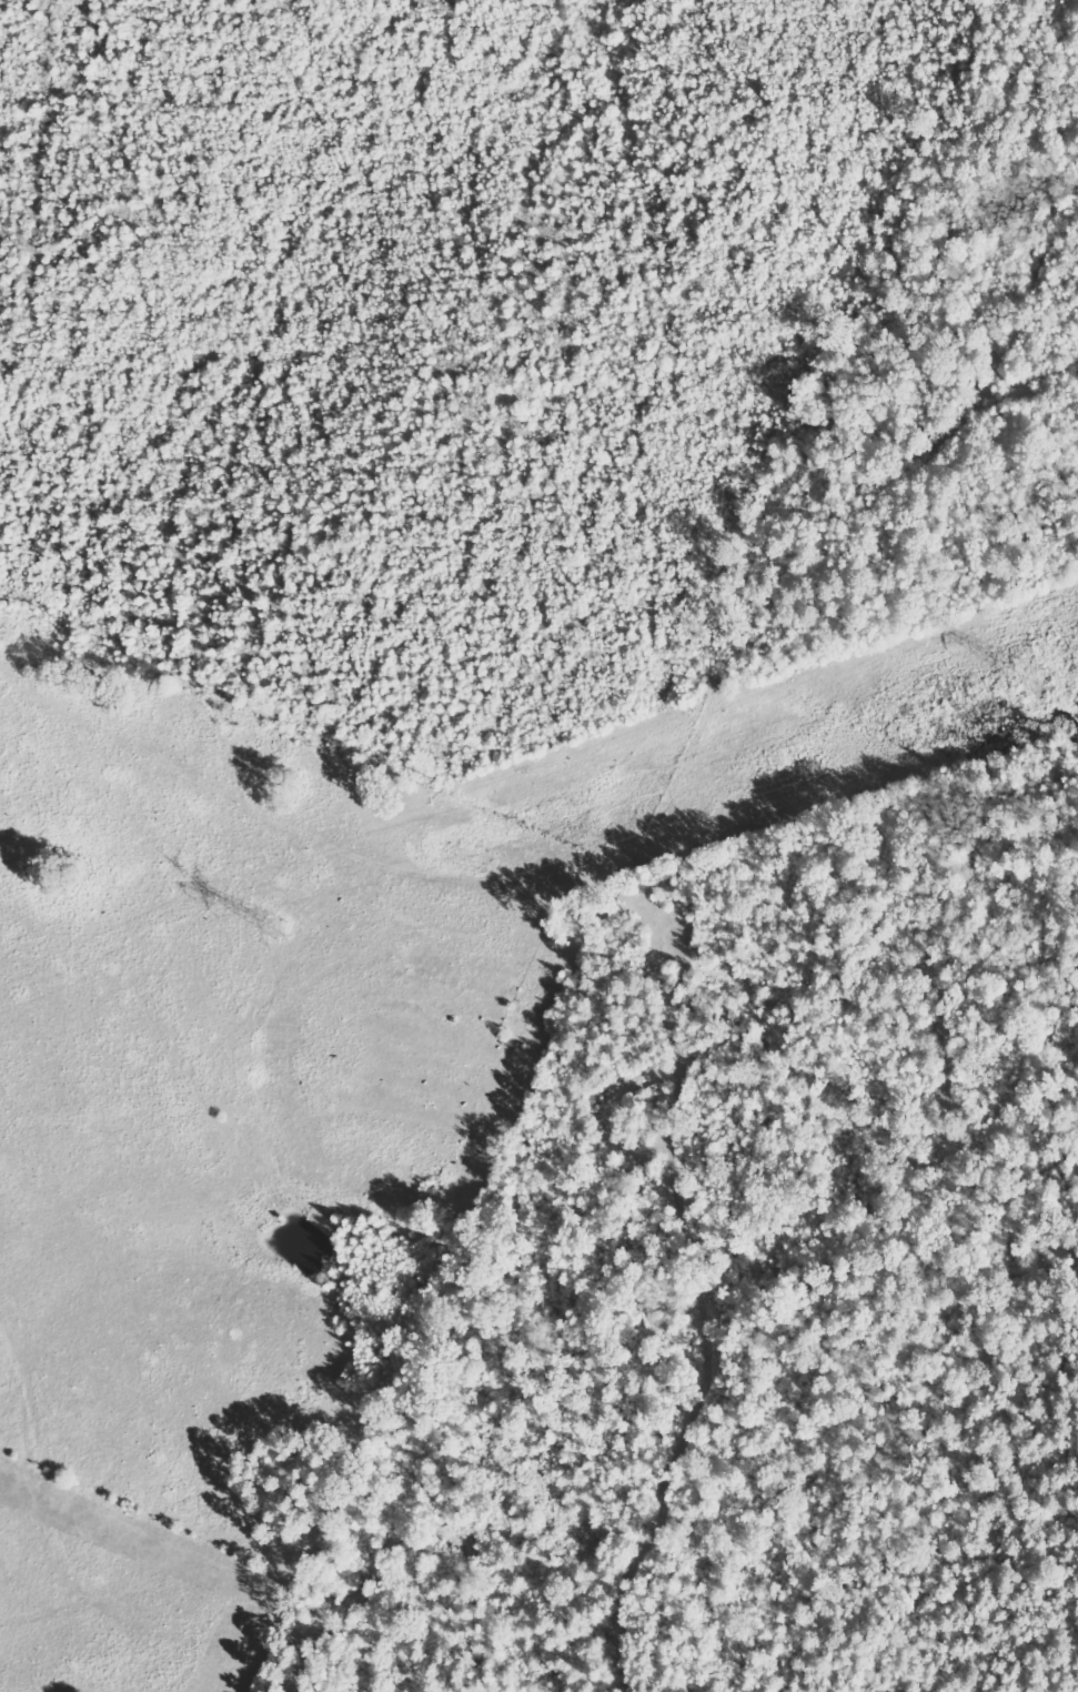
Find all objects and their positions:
power tower: (1040, 679)
power tower: (278, 928)

